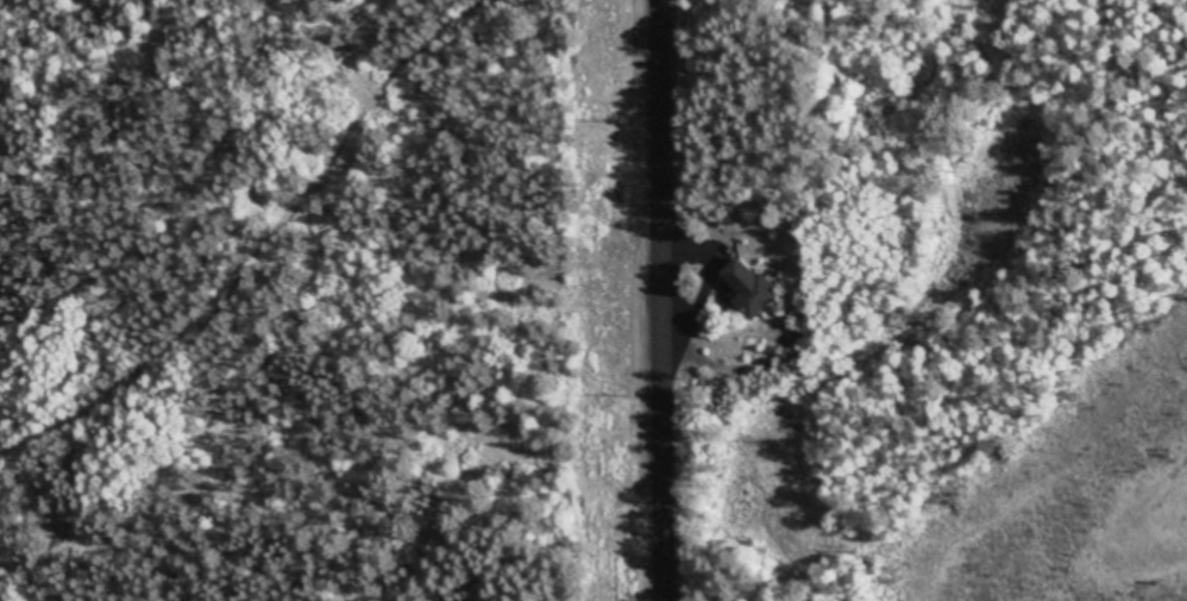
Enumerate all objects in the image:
road: (235, 234)
building: (754, 289)
road: (629, 300)

